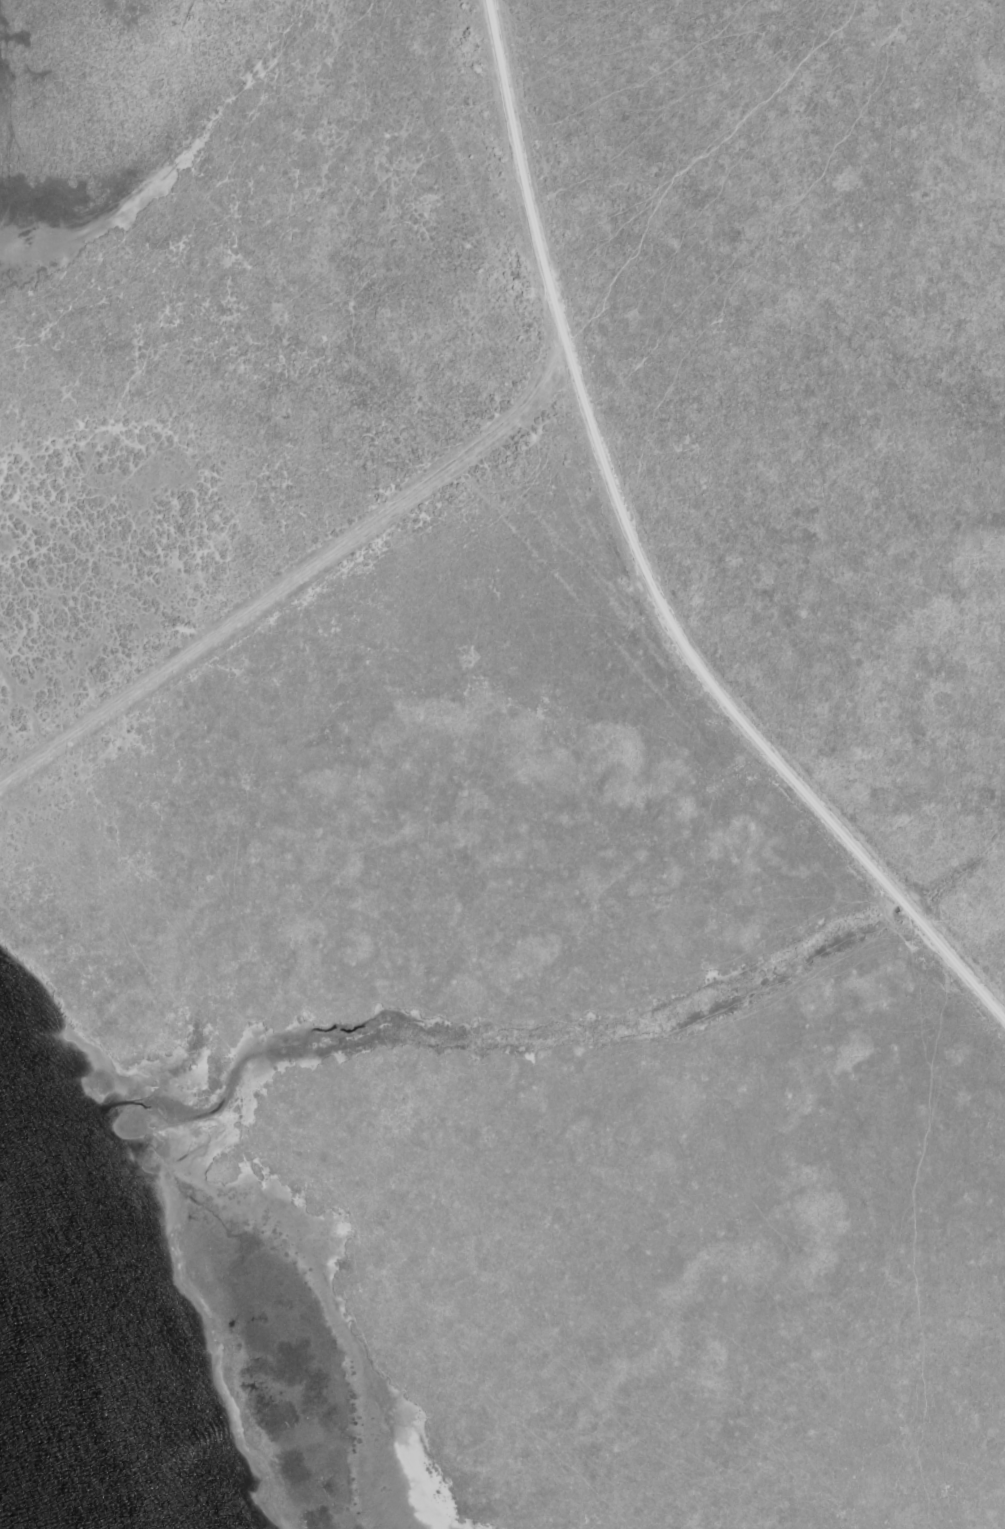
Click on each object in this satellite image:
road: (639, 572)
road: (289, 580)

